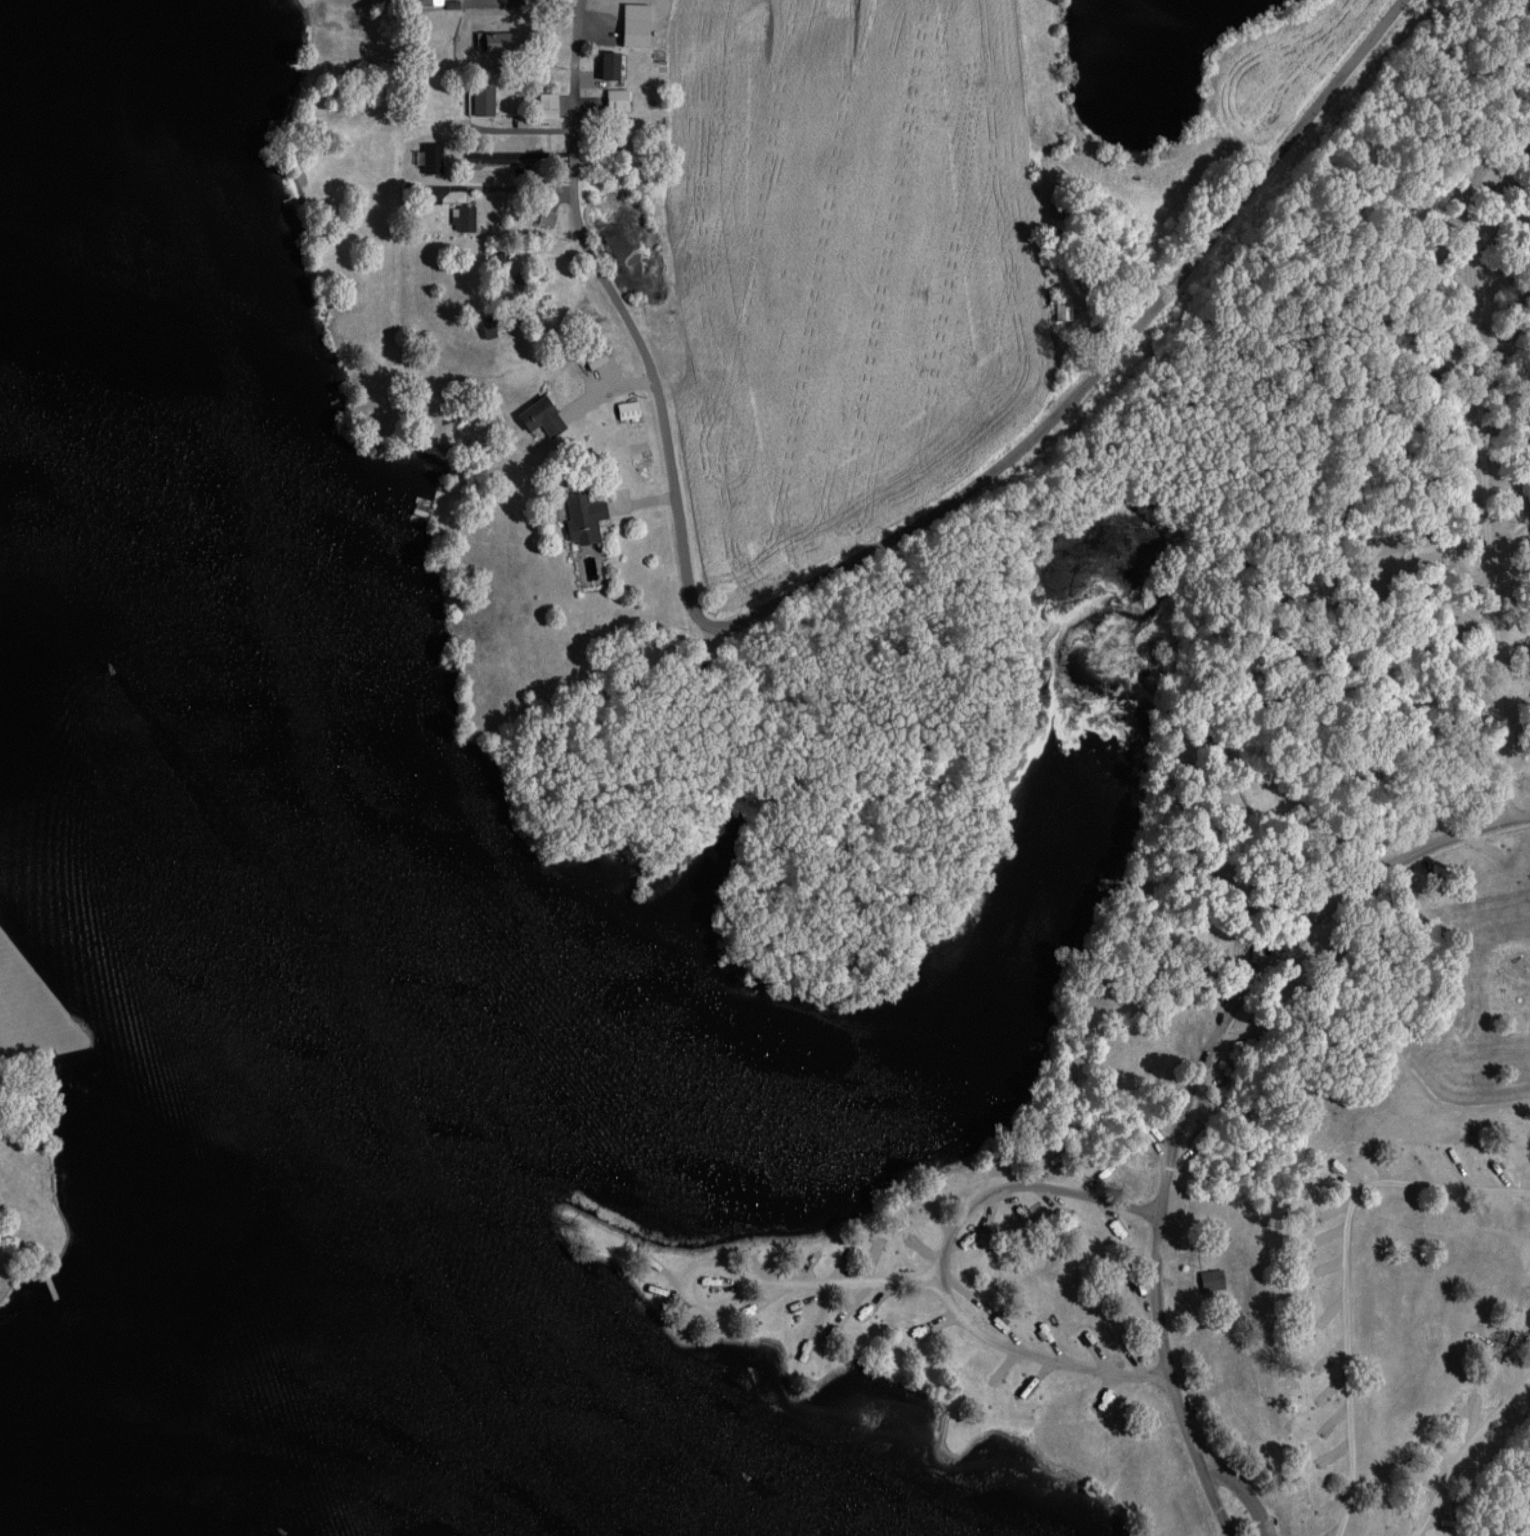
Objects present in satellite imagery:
building: (647, 0)
building: (436, 4)
building: (633, 32)
building: (492, 41)
building: (607, 65)
building: (615, 99)
building: (480, 100)
building: (546, 104)
building: (512, 154)
building: (620, 154)
building: (542, 217)
building: (463, 218)
road: (608, 285)
building: (498, 321)
building: (593, 358)
road: (1079, 398)
building: (625, 411)
building: (533, 413)
road: (1485, 459)
building: (581, 518)
park: (1179, 956)
road: (1187, 1091)
road: (1339, 1268)
road: (942, 1271)
building: (1210, 1279)
road: (762, 1287)
road: (1466, 1453)
road: (1241, 1489)

